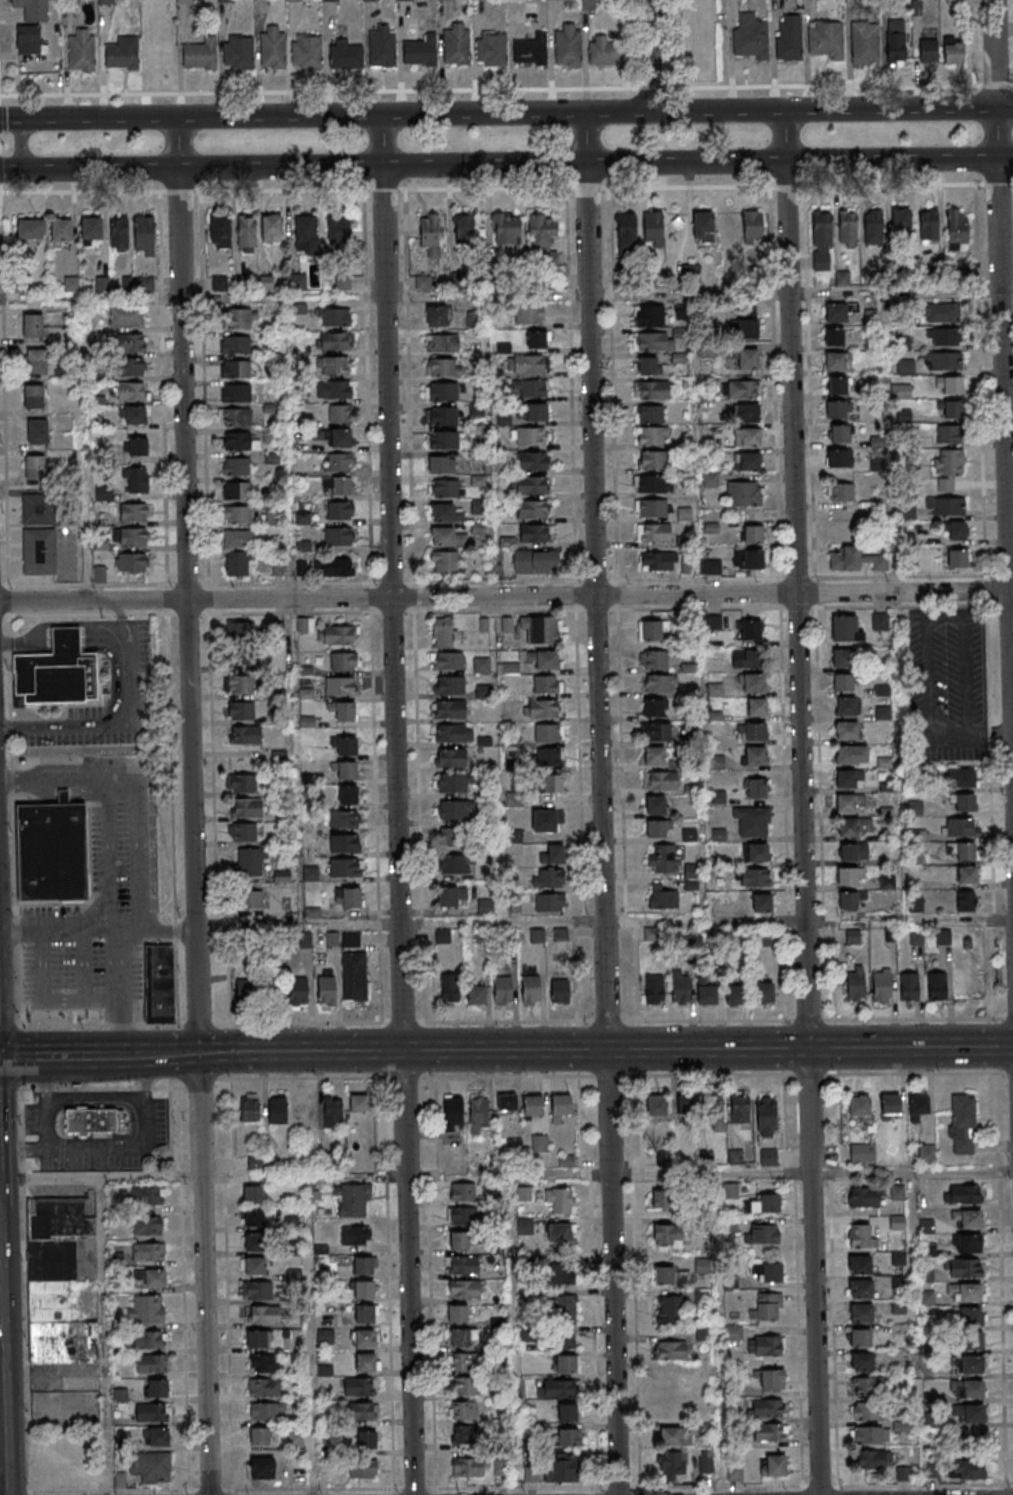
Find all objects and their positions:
building: (225, 0)
building: (262, 0)
building: (297, 0)
building: (330, 0)
building: (106, 1)
building: (589, 5)
building: (33, 9)
building: (750, 37)
building: (788, 38)
building: (826, 39)
building: (30, 40)
building: (895, 40)
building: (864, 44)
building: (382, 45)
building: (457, 45)
building: (568, 45)
building: (272, 47)
building: (491, 49)
building: (928, 49)
building: (82, 50)
building: (531, 50)
building: (306, 51)
building: (420, 51)
building: (603, 51)
building: (953, 51)
building: (238, 52)
building: (345, 54)
building: (122, 55)
building: (200, 55)
road: (647, 56)
road: (2, 96)
road: (506, 113)
road: (19, 144)
road: (506, 164)
road: (506, 188)
road: (0, 205)
building: (900, 219)
building: (928, 224)
building: (703, 226)
building: (752, 226)
building: (872, 226)
building: (652, 227)
building: (847, 227)
building: (271, 228)
building: (506, 228)
building: (31, 229)
building: (339, 229)
building: (464, 229)
building: (90, 230)
building: (957, 230)
building: (60, 231)
building: (220, 231)
building: (430, 233)
building: (119, 234)
building: (143, 234)
building: (247, 234)
building: (542, 234)
building: (626, 234)
building: (306, 236)
building: (821, 240)
building: (295, 281)
building: (457, 281)
building: (423, 282)
building: (853, 307)
building: (836, 312)
building: (943, 313)
building: (528, 314)
building: (126, 316)
building: (333, 316)
building: (649, 316)
building: (239, 317)
building: (474, 319)
building: (32, 325)
building: (747, 328)
building: (834, 336)
building: (944, 337)
building: (537, 339)
building: (336, 341)
building: (651, 341)
building: (130, 342)
building: (442, 342)
building: (235, 344)
building: (746, 358)
building: (837, 360)
building: (942, 361)
building: (36, 362)
building: (336, 365)
building: (527, 365)
building: (646, 365)
building: (905, 366)
building: (130, 367)
building: (444, 367)
building: (236, 368)
building: (949, 384)
building: (837, 385)
building: (529, 388)
building: (742, 388)
building: (335, 389)
building: (652, 389)
building: (132, 391)
building: (444, 391)
building: (901, 391)
building: (236, 392)
building: (33, 396)
road: (1002, 399)
road: (4, 407)
building: (835, 408)
building: (952, 409)
building: (532, 412)
building: (340, 413)
building: (650, 413)
building: (746, 413)
building: (133, 415)
building: (441, 415)
building: (234, 416)
road: (1008, 421)
building: (37, 431)
building: (838, 433)
building: (652, 434)
building: (949, 434)
building: (530, 436)
building: (341, 438)
building: (747, 438)
building: (443, 439)
building: (239, 441)
building: (137, 445)
building: (838, 457)
building: (651, 459)
building: (531, 460)
building: (340, 461)
building: (748, 462)
building: (442, 464)
building: (236, 466)
building: (34, 467)
building: (949, 468)
building: (477, 473)
building: (137, 480)
building: (709, 480)
building: (653, 483)
building: (529, 485)
building: (337, 486)
building: (447, 488)
building: (236, 491)
building: (841, 492)
building: (744, 494)
building: (479, 506)
building: (948, 506)
building: (652, 508)
building: (39, 509)
building: (533, 509)
building: (340, 511)
building: (133, 512)
building: (446, 512)
building: (684, 514)
building: (236, 516)
building: (957, 530)
building: (653, 532)
building: (534, 533)
building: (753, 535)
building: (339, 536)
building: (448, 536)
building: (130, 537)
building: (238, 539)
building: (39, 551)
building: (844, 558)
building: (957, 558)
building: (748, 559)
building: (444, 561)
building: (536, 561)
building: (656, 561)
building: (132, 563)
building: (238, 563)
building: (879, 563)
building: (336, 567)
building: (713, 567)
road: (3, 586)
road: (1010, 591)
road: (504, 596)
road: (6, 601)
road: (698, 608)
road: (496, 610)
road: (118, 611)
road: (285, 612)
building: (880, 621)
road: (929, 622)
road: (55, 624)
building: (305, 624)
building: (846, 629)
building: (241, 630)
building: (540, 630)
building: (653, 630)
building: (748, 630)
building: (445, 632)
building: (337, 634)
building: (244, 656)
building: (842, 658)
building: (544, 659)
building: (653, 659)
building: (742, 659)
building: (449, 660)
building: (344, 661)
building: (481, 665)
building: (57, 672)
building: (842, 682)
building: (660, 683)
building: (752, 683)
building: (240, 684)
building: (546, 684)
parking lot: (946, 684)
building: (341, 685)
building: (449, 685)
building: (483, 691)
building: (845, 706)
building: (653, 707)
building: (756, 707)
building: (448, 709)
building: (548, 709)
building: (343, 710)
building: (240, 711)
building: (882, 713)
road: (115, 726)
building: (846, 730)
building: (656, 731)
building: (753, 731)
building: (453, 733)
building: (549, 733)
building: (244, 734)
road: (990, 734)
road: (170, 738)
building: (344, 745)
building: (851, 754)
building: (653, 755)
building: (754, 756)
building: (451, 757)
building: (549, 757)
building: (884, 762)
building: (345, 769)
building: (962, 778)
building: (845, 779)
building: (660, 781)
building: (453, 782)
building: (241, 783)
building: (550, 783)
building: (756, 788)
building: (347, 794)
building: (848, 802)
building: (962, 802)
road: (801, 803)
road: (600, 804)
road: (396, 805)
building: (654, 805)
road: (191, 806)
building: (246, 807)
building: (455, 810)
building: (343, 818)
road: (12, 820)
building: (547, 820)
building: (752, 821)
building: (854, 827)
building: (962, 827)
building: (655, 829)
building: (242, 831)
building: (515, 837)
building: (455, 838)
building: (345, 843)
building: (960, 850)
building: (50, 852)
building: (853, 852)
building: (755, 853)
road: (138, 855)
building: (553, 855)
building: (664, 859)
building: (251, 860)
building: (454, 864)
building: (346, 867)
building: (281, 870)
building: (311, 873)
building: (967, 874)
building: (848, 875)
building: (754, 877)
building: (549, 879)
building: (450, 895)
building: (349, 897)
building: (251, 899)
building: (663, 899)
building: (847, 900)
building: (966, 901)
building: (550, 903)
building: (762, 903)
building: (485, 911)
road: (501, 922)
road: (167, 929)
building: (442, 936)
building: (351, 938)
building: (354, 975)
building: (855, 983)
building: (159, 984)
building: (881, 985)
building: (909, 986)
building: (937, 986)
building: (449, 987)
building: (680, 987)
building: (530, 988)
building: (325, 989)
building: (502, 989)
building: (654, 989)
road: (116, 990)
building: (248, 991)
building: (297, 991)
building: (560, 991)
building: (763, 993)
building: (735, 994)
building: (476, 995)
building: (707, 995)
building: (359, 1012)
road: (825, 1019)
road: (497, 1021)
road: (607, 1021)
road: (302, 1022)
road: (403, 1022)
road: (198, 1023)
road: (99, 1024)
road: (8, 1025)
road: (578, 1050)
road: (230, 1051)
road: (20, 1055)
road: (72, 1056)
road: (915, 1072)
road: (1008, 1072)
road: (811, 1073)
road: (710, 1074)
road: (507, 1075)
road: (608, 1075)
road: (302, 1076)
road: (403, 1076)
road: (145, 1077)
road: (200, 1078)
road: (175, 1084)
road: (93, 1087)
road: (9, 1089)
road: (96, 1099)
building: (507, 1101)
building: (358, 1103)
building: (656, 1104)
building: (685, 1104)
building: (889, 1105)
building: (531, 1106)
building: (859, 1106)
building: (917, 1106)
building: (559, 1107)
building: (248, 1109)
building: (452, 1109)
building: (277, 1110)
building: (739, 1110)
building: (332, 1112)
building: (477, 1113)
building: (716, 1114)
building: (766, 1115)
building: (92, 1123)
building: (962, 1123)
road: (47, 1127)
road: (171, 1136)
building: (540, 1143)
road: (119, 1149)
building: (862, 1152)
building: (925, 1155)
building: (768, 1157)
building: (663, 1160)
building: (263, 1161)
road: (912, 1172)
road: (710, 1173)
road: (559, 1175)
road: (202, 1176)
building: (463, 1191)
building: (730, 1191)
building: (897, 1192)
building: (523, 1193)
building: (255, 1194)
building: (963, 1194)
building: (148, 1195)
building: (865, 1196)
building: (560, 1199)
building: (662, 1199)
building: (352, 1200)
building: (764, 1202)
building: (462, 1216)
building: (255, 1217)
building: (966, 1218)
building: (897, 1222)
building: (146, 1226)
building: (560, 1233)
building: (762, 1233)
building: (355, 1235)
building: (667, 1235)
building: (860, 1236)
building: (459, 1240)
building: (254, 1242)
building: (967, 1243)
building: (149, 1251)
building: (898, 1258)
building: (461, 1264)
building: (858, 1264)
building: (362, 1265)
building: (255, 1266)
building: (702, 1267)
building: (963, 1268)
building: (560, 1274)
building: (771, 1274)
building: (293, 1275)
building: (671, 1276)
road: (1001, 1277)
building: (150, 1278)
building: (57, 1283)
road: (227, 1284)
road: (24, 1287)
building: (465, 1288)
building: (256, 1289)
building: (362, 1290)
building: (860, 1290)
building: (965, 1292)
building: (928, 1298)
building: (898, 1307)
building: (767, 1308)
building: (560, 1309)
building: (670, 1309)
building: (146, 1310)
building: (861, 1312)
building: (457, 1313)
building: (263, 1314)
building: (365, 1314)
building: (971, 1316)
building: (732, 1333)
road: (103, 1335)
road: (307, 1335)
road: (511, 1335)
road: (184, 1336)
building: (859, 1337)
building: (259, 1338)
building: (365, 1338)
building: (463, 1338)
building: (563, 1339)
building: (150, 1340)
building: (969, 1341)
building: (764, 1346)
building: (670, 1350)
building: (861, 1361)
building: (264, 1362)
building: (367, 1362)
building: (462, 1362)
building: (151, 1363)
building: (565, 1363)
building: (968, 1366)
road: (3, 1369)
building: (770, 1380)
building: (867, 1385)
building: (359, 1386)
building: (156, 1387)
building: (265, 1387)
building: (465, 1387)
building: (556, 1388)
building: (967, 1390)
building: (763, 1408)
building: (868, 1410)
building: (266, 1411)
building: (360, 1411)
building: (463, 1412)
building: (566, 1412)
building: (152, 1413)
building: (968, 1415)
building: (769, 1432)
building: (870, 1434)
building: (464, 1435)
building: (675, 1435)
building: (260, 1436)
building: (157, 1437)
building: (568, 1437)
building: (367, 1440)
building: (870, 1459)
building: (705, 1462)
building: (673, 1464)
building: (773, 1465)
building: (151, 1468)
building: (262, 1468)
building: (467, 1468)
building: (500, 1468)
building: (363, 1469)
building: (560, 1469)
building: (967, 1470)
building: (903, 1474)
building: (119, 1484)
road: (1005, 1485)
road: (17, 1490)
road: (188, 1491)

